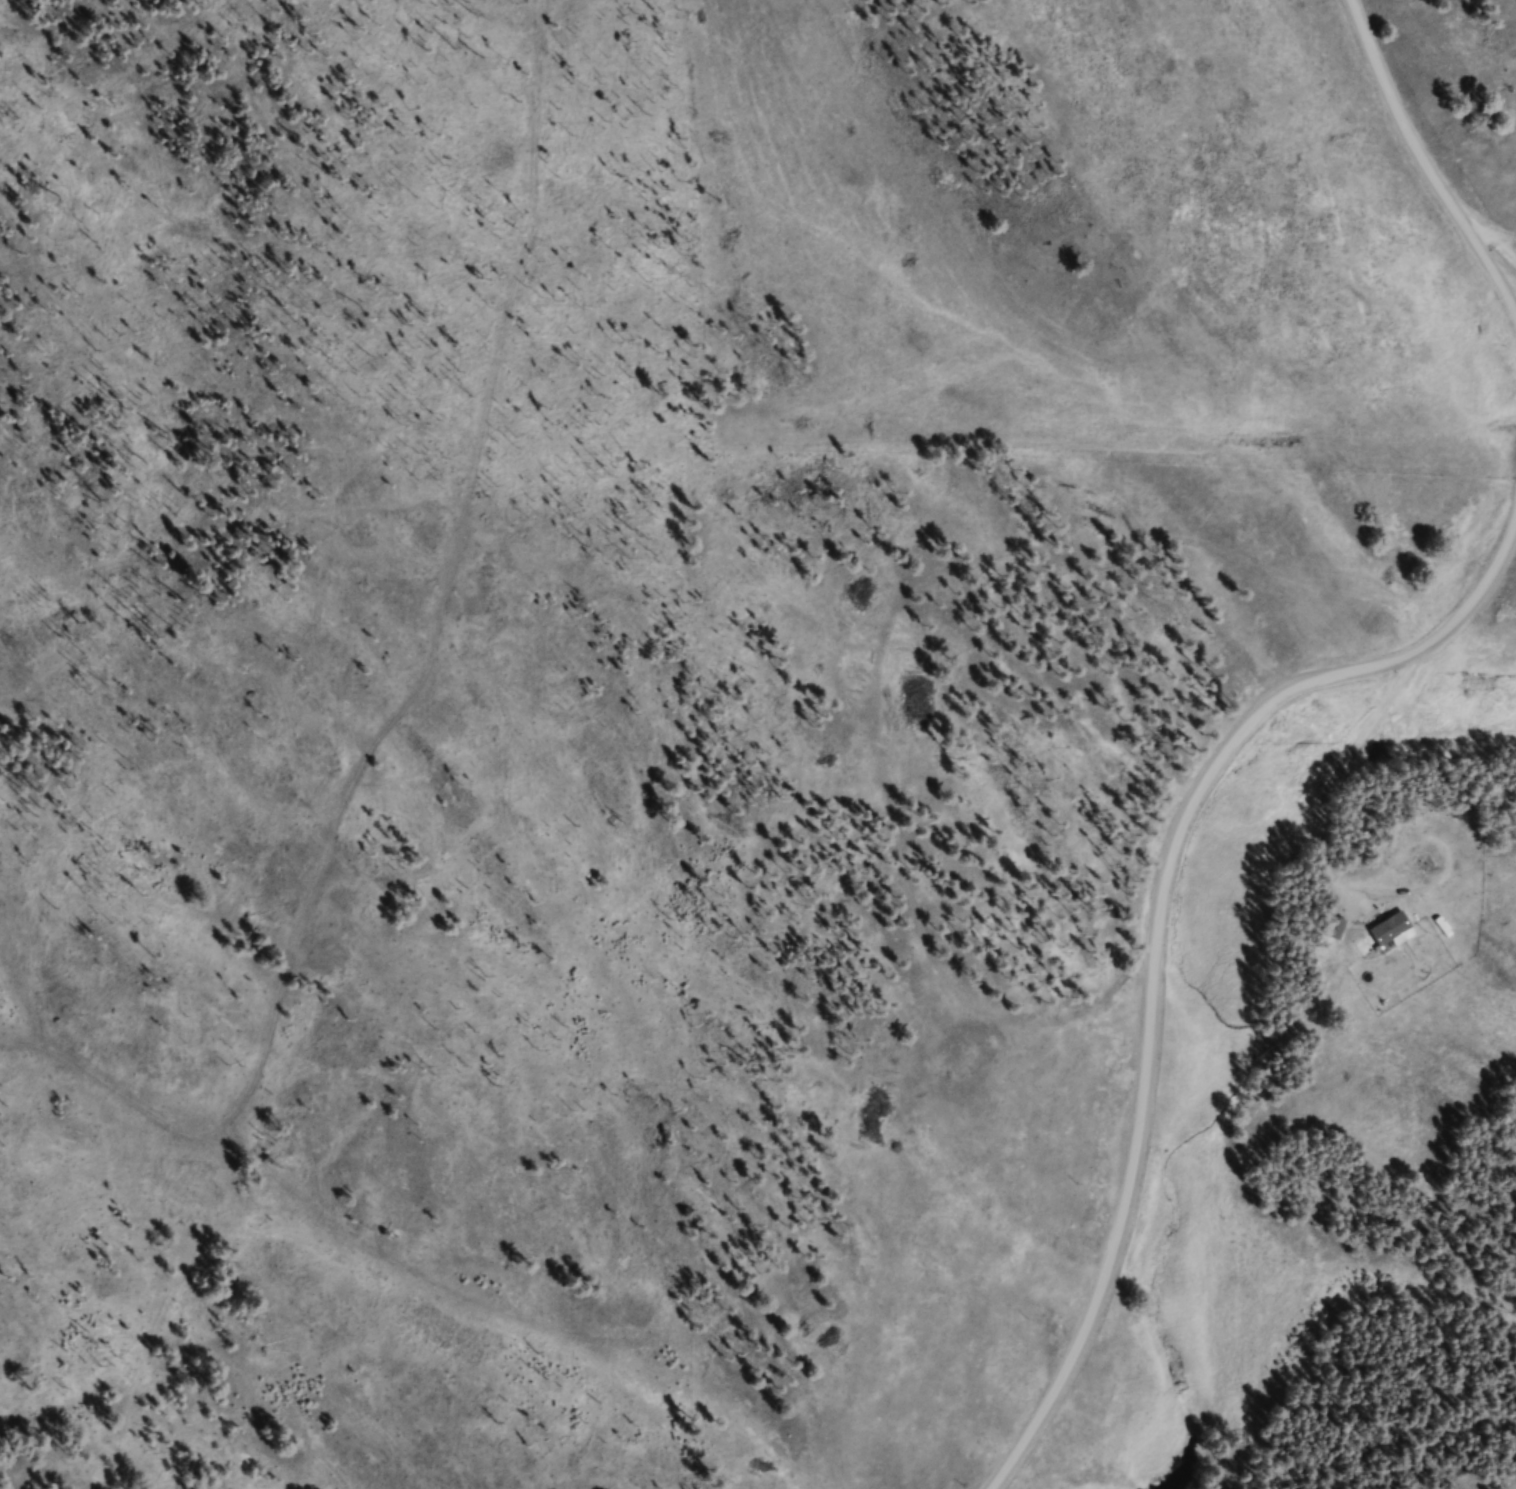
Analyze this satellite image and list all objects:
road: (1381, 98)
road: (1473, 264)
road: (1150, 919)
building: (1366, 955)

